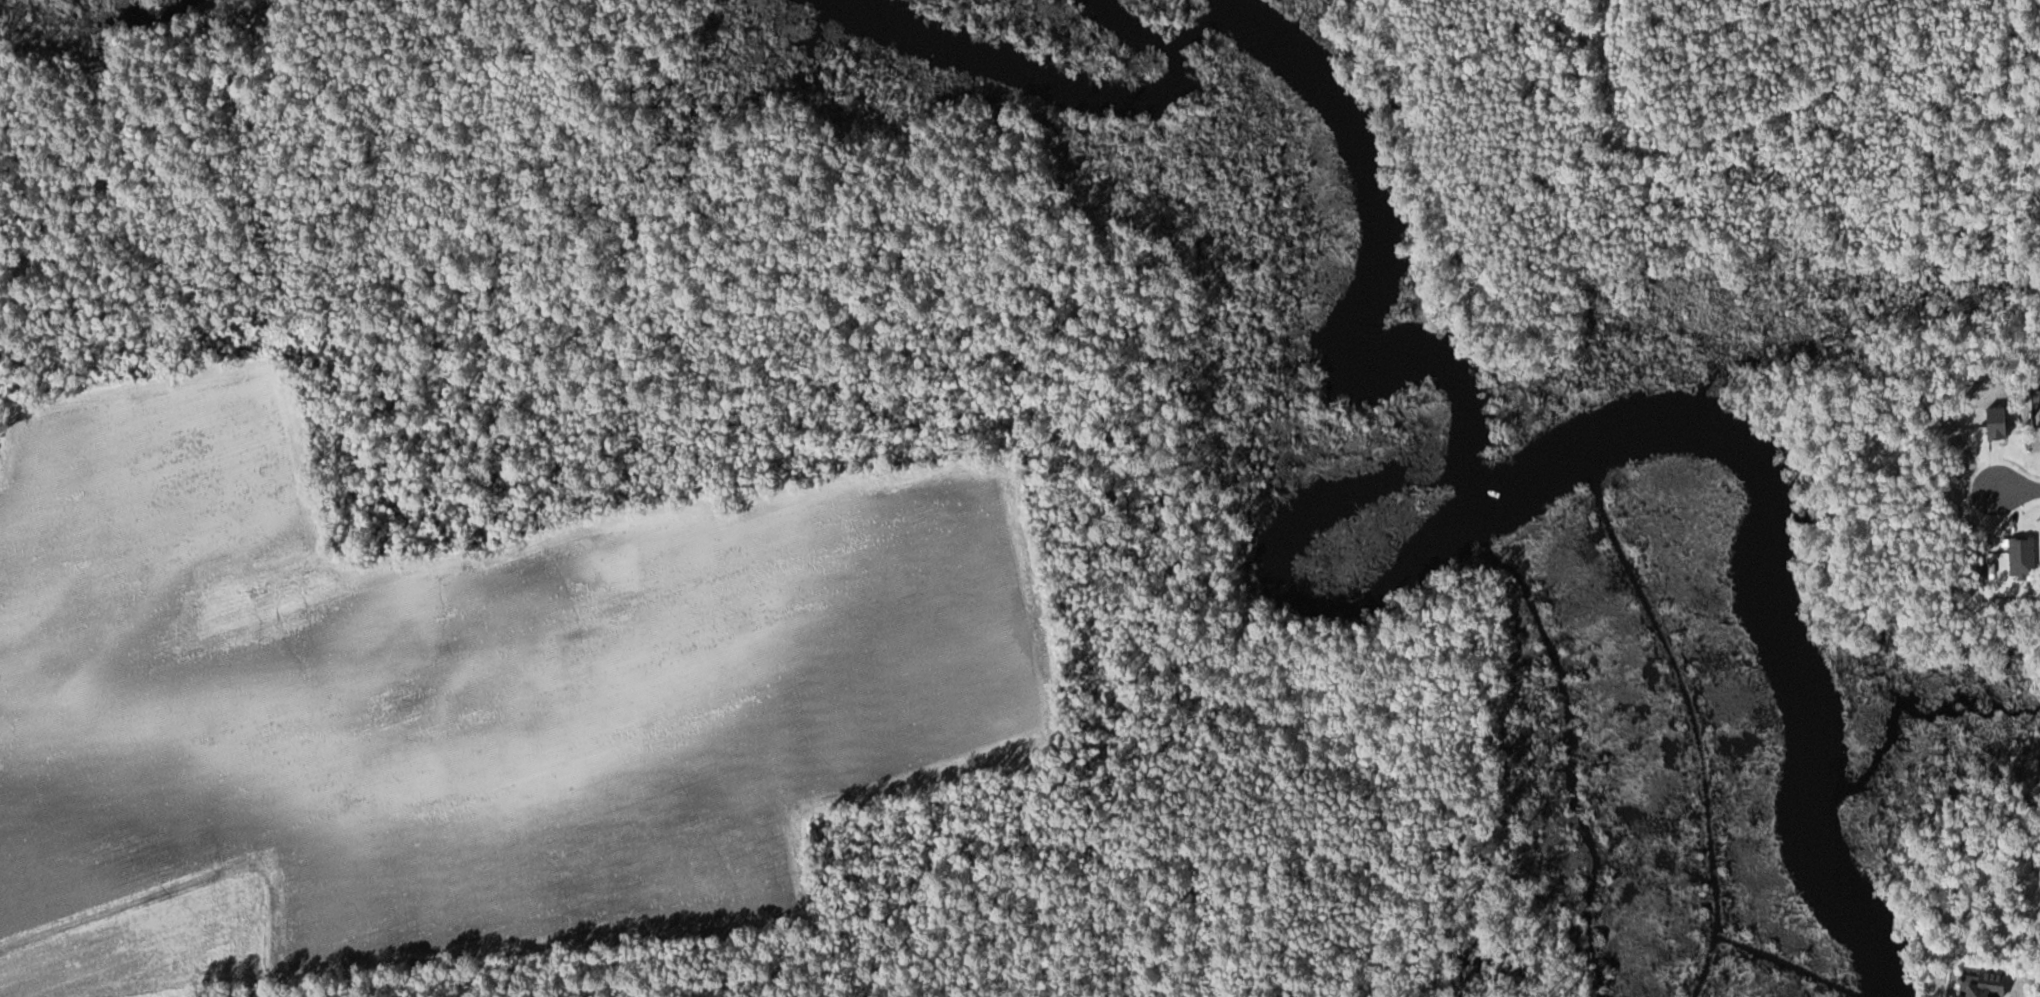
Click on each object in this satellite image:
building: (1976, 983)

